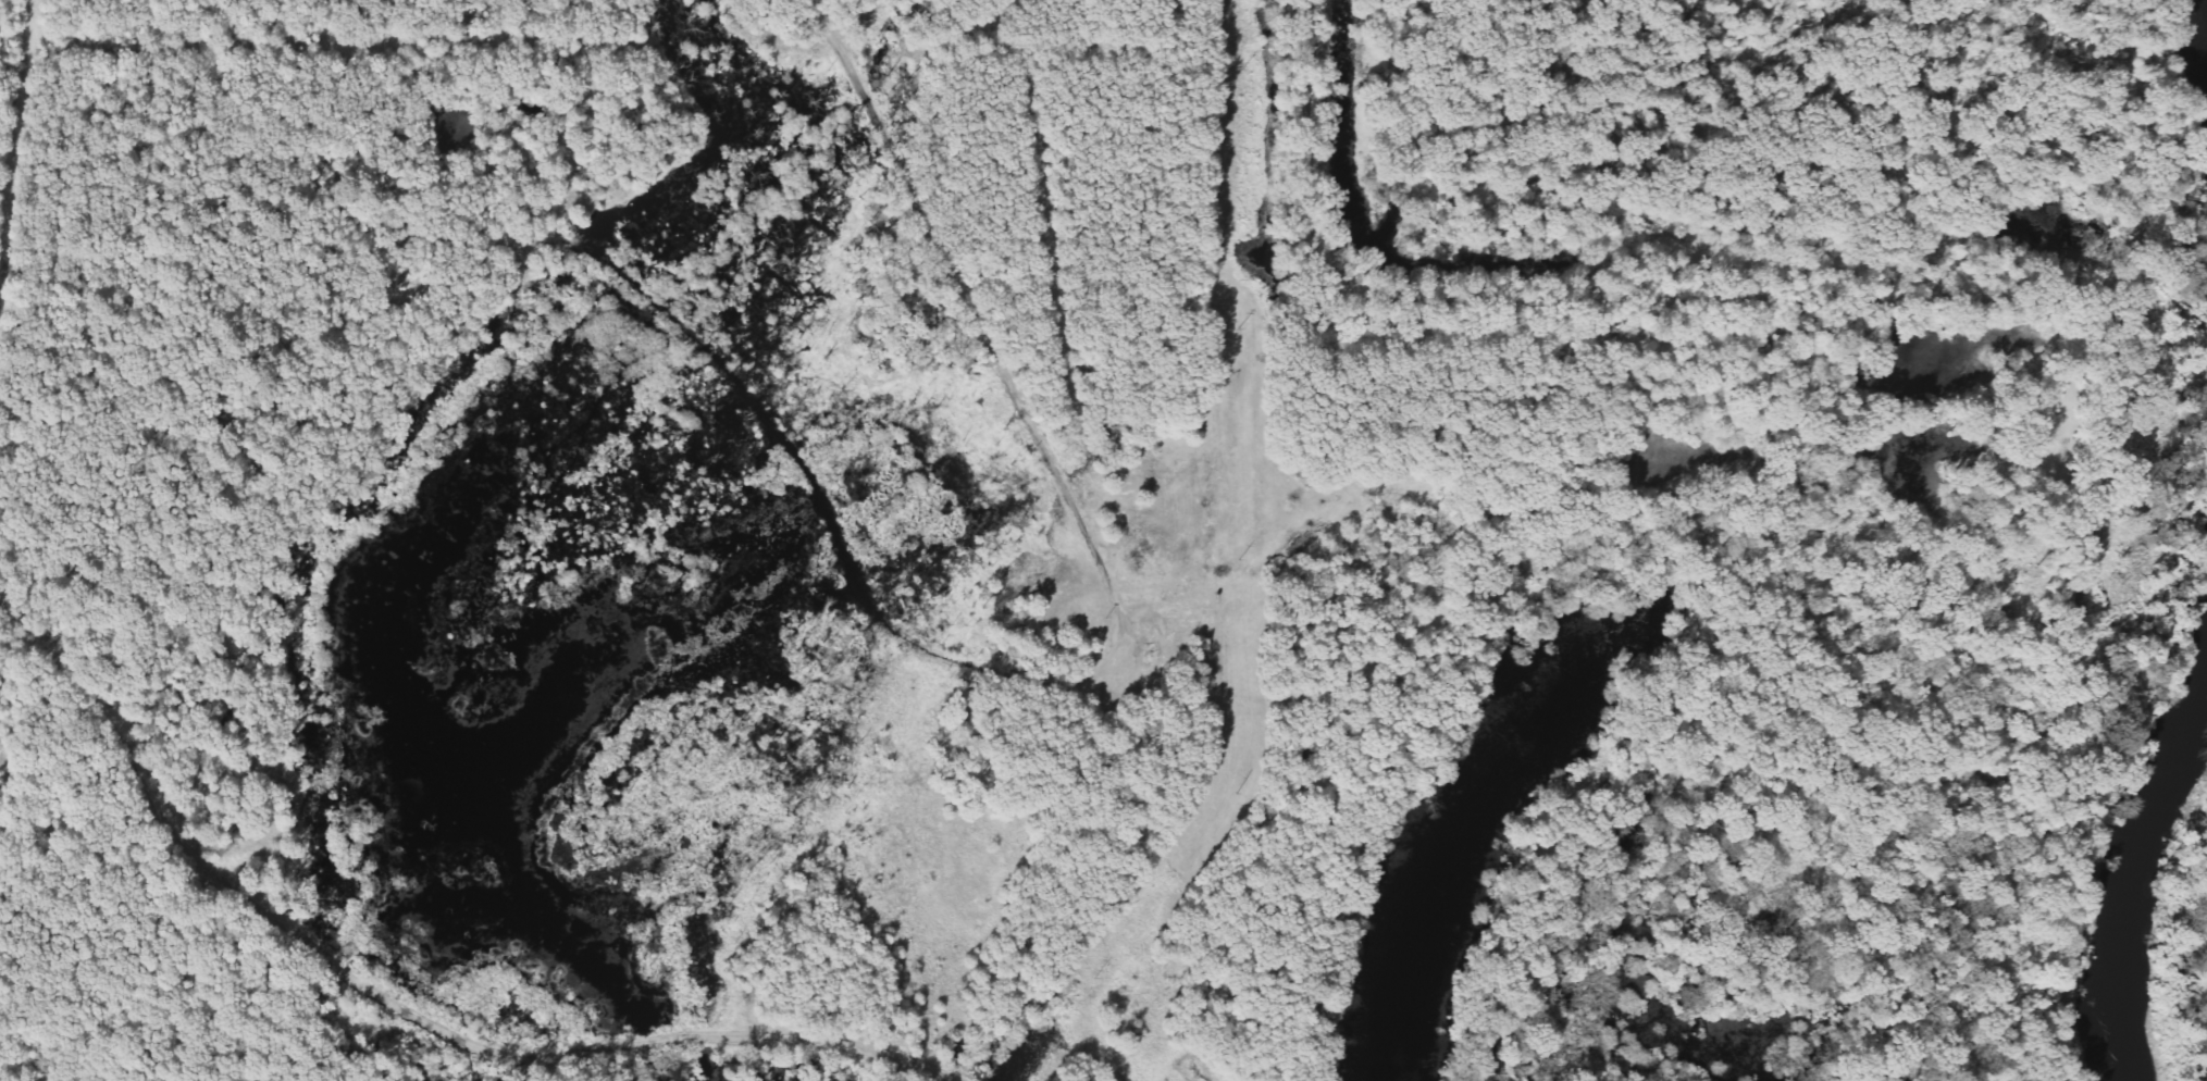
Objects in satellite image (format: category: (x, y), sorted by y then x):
road: (1066, 685)
river: (2142, 877)
road: (397, 1010)

